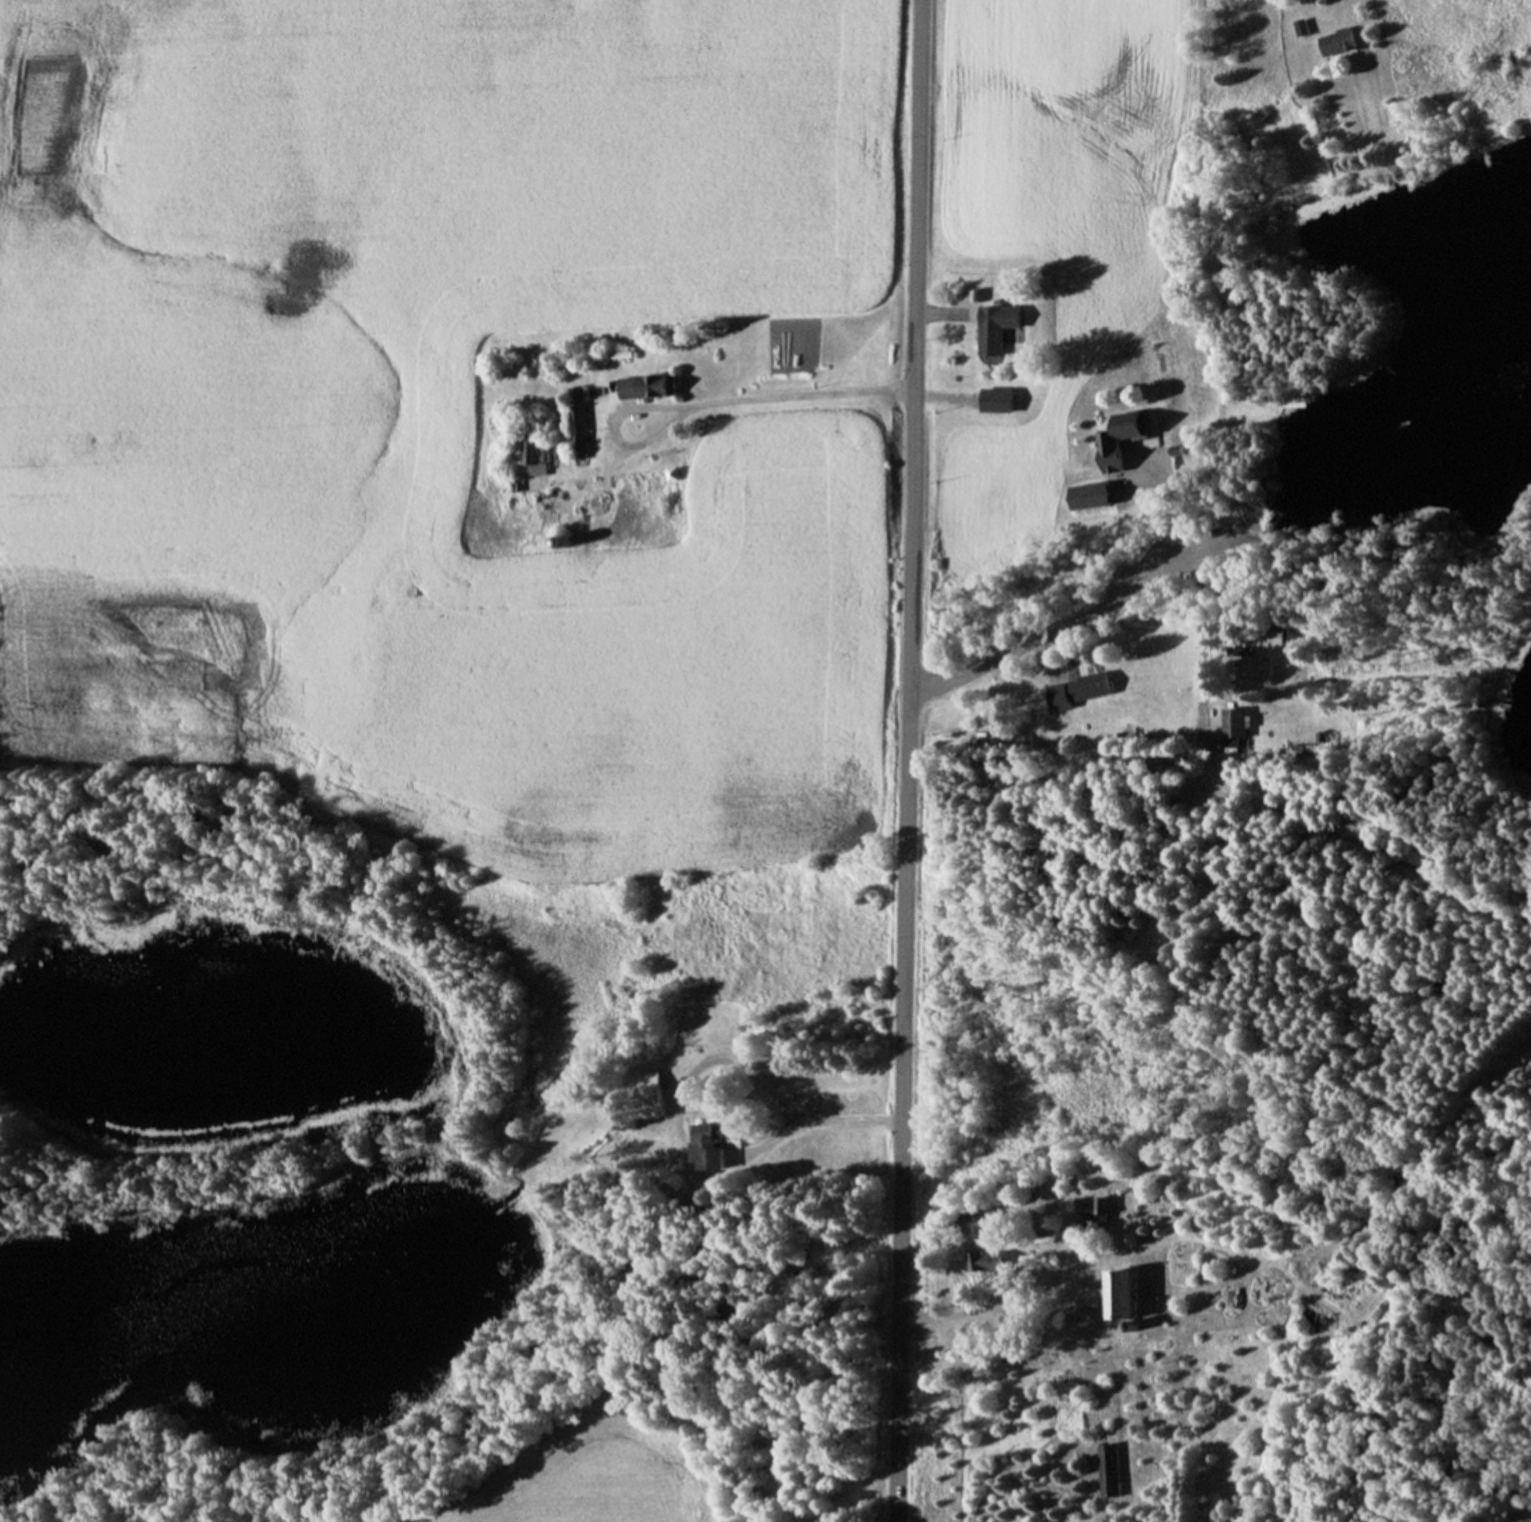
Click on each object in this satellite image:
building: (1304, 27)
building: (1344, 43)
building: (1003, 326)
building: (650, 386)
road: (706, 403)
building: (1128, 432)
building: (527, 456)
road: (1070, 621)
building: (1279, 637)
road: (1204, 644)
building: (1263, 671)
building: (1082, 689)
building: (1239, 722)
road: (909, 760)
building: (651, 1093)
road: (852, 1117)
building: (714, 1148)
building: (1103, 1207)
building: (993, 1262)
building: (1128, 1293)
road: (966, 1312)
building: (1110, 1470)
building: (745, 1508)

